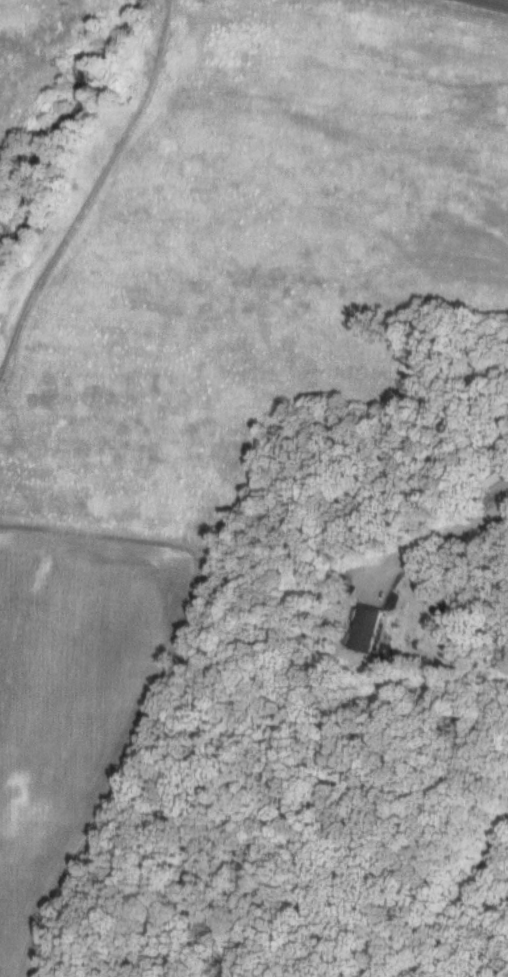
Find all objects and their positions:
road: (490, 4)
building: (367, 629)

